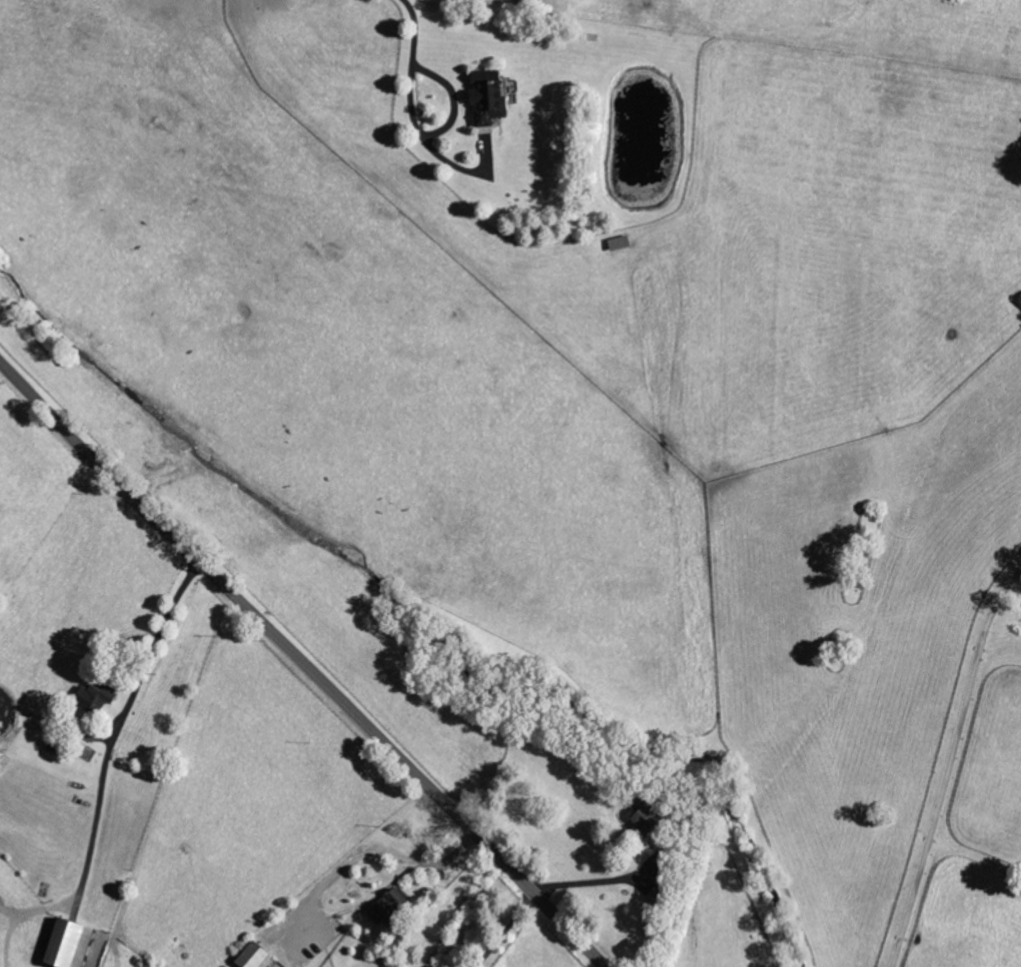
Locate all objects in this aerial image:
road: (453, 98)
road: (412, 109)
road: (303, 663)
building: (98, 696)
road: (115, 729)
road: (949, 766)
building: (651, 822)
road: (330, 878)
road: (607, 881)
building: (394, 907)
road: (507, 931)
building: (75, 944)
building: (258, 956)

